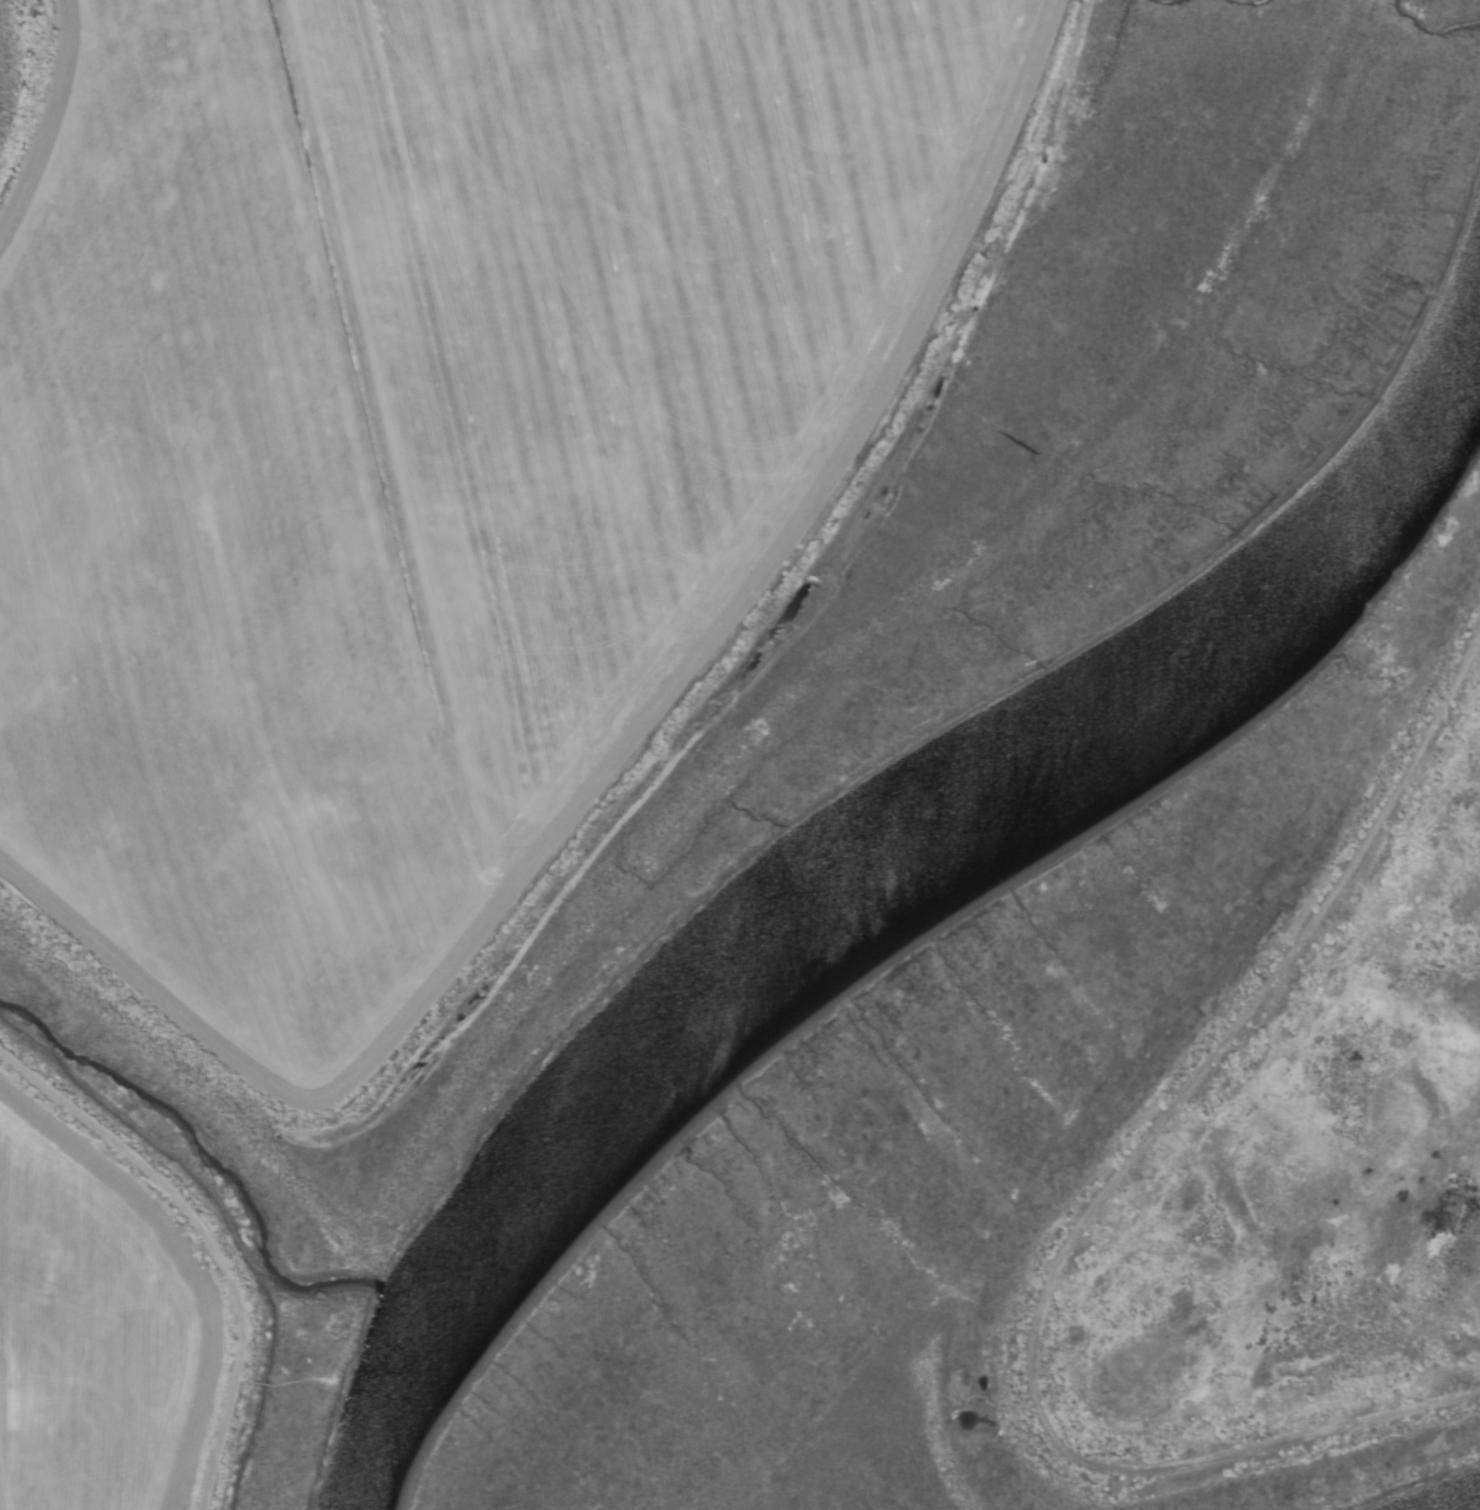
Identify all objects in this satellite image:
road: (193, 1246)

